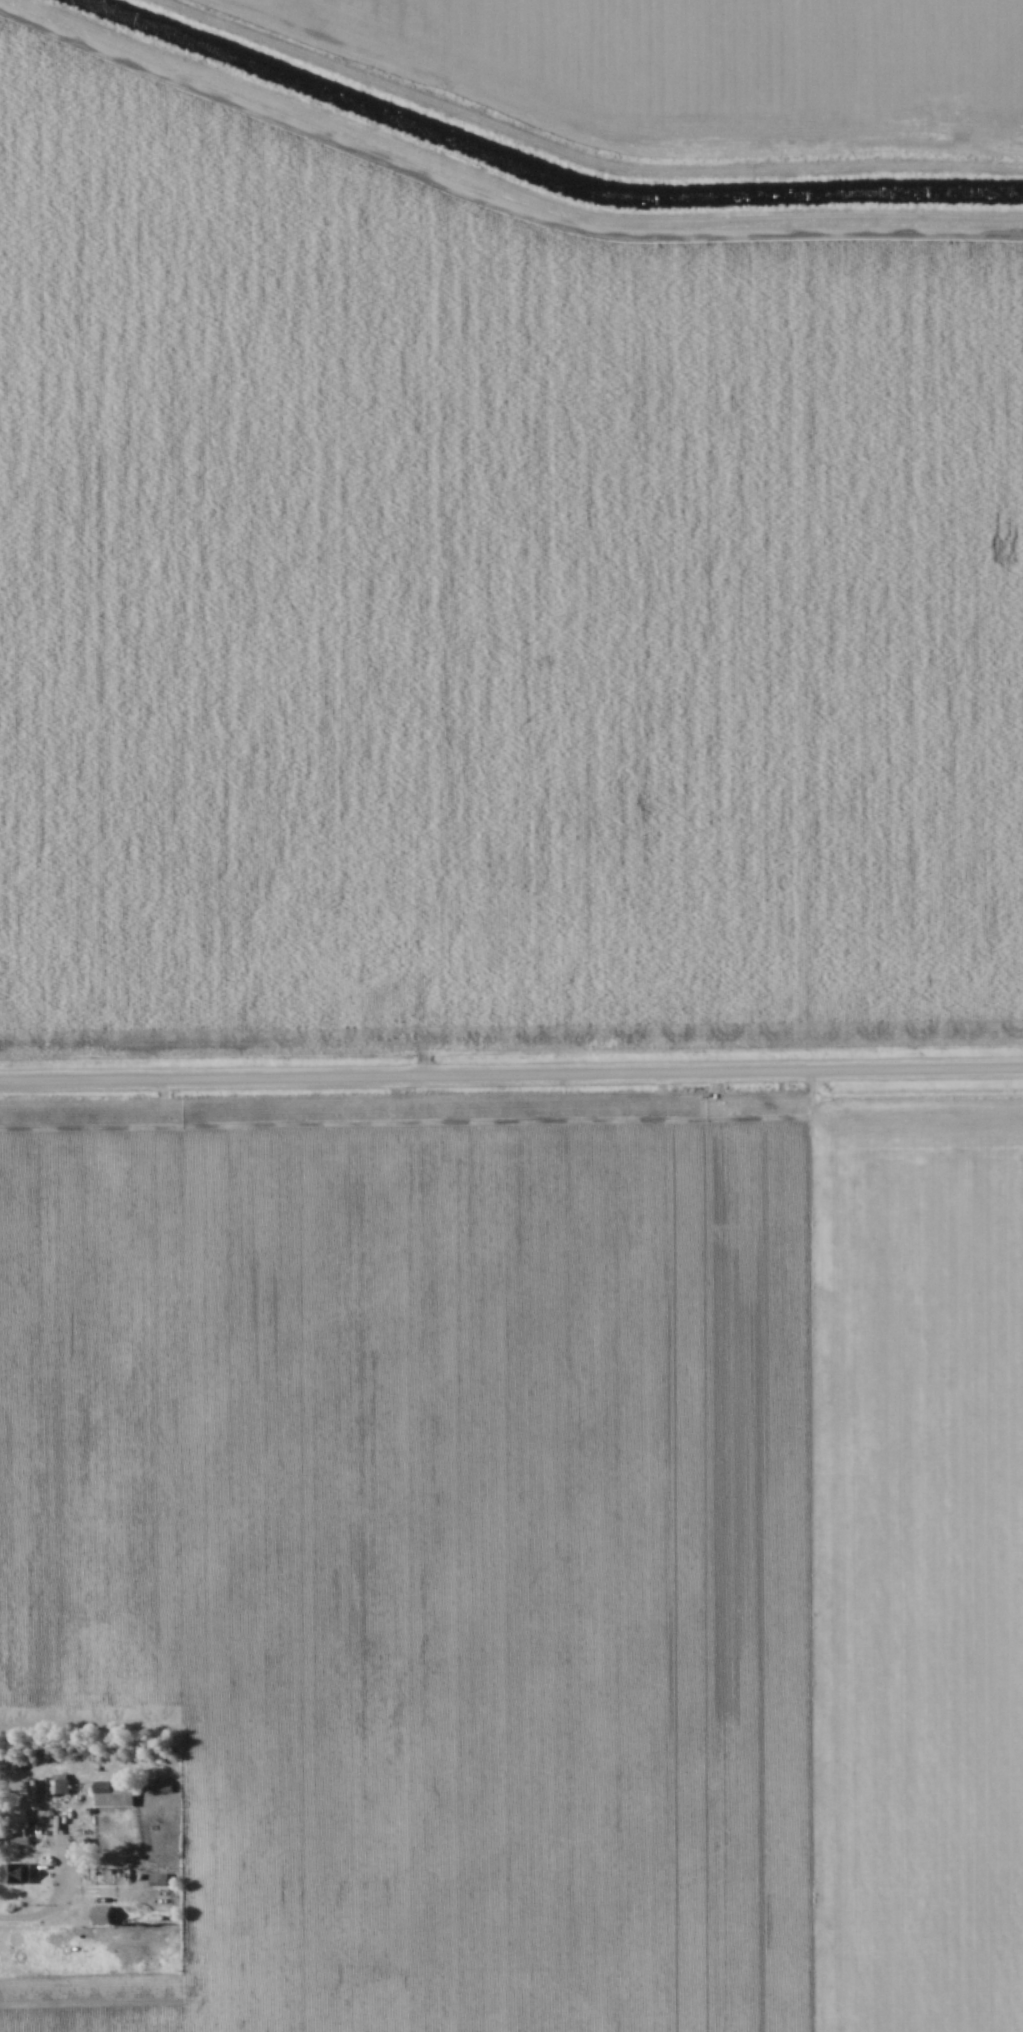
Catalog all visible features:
crop: (710, 65)
crop: (488, 602)
road: (511, 1074)
crop: (532, 1547)
building: (161, 1784)
building: (49, 1786)
building: (114, 1792)
building: (25, 1823)
building: (15, 1873)
building: (157, 1879)
road: (58, 1899)
building: (101, 1915)

